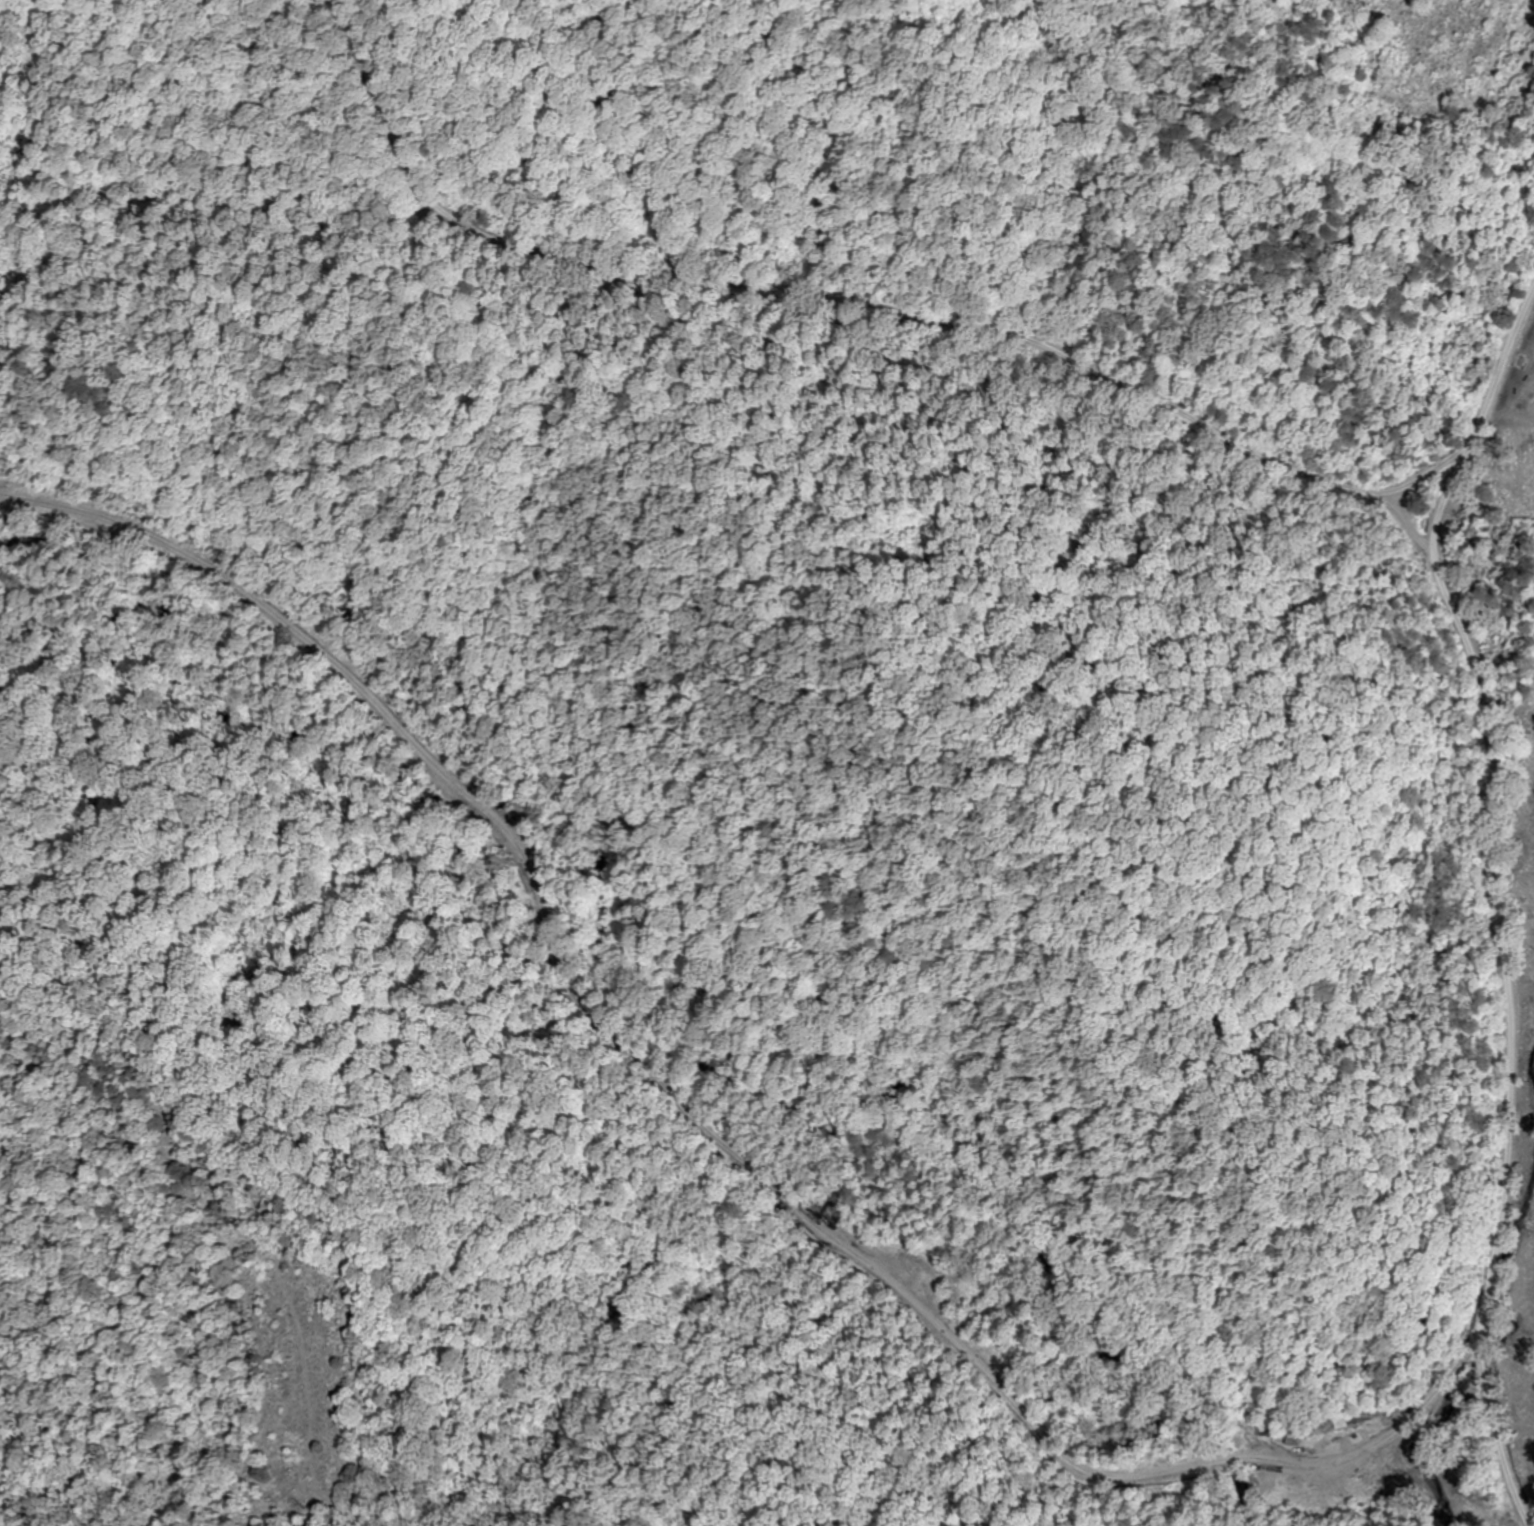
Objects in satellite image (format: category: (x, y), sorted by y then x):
road: (859, 285)
road: (1487, 803)
road: (1330, 1406)
road: (1497, 1435)

